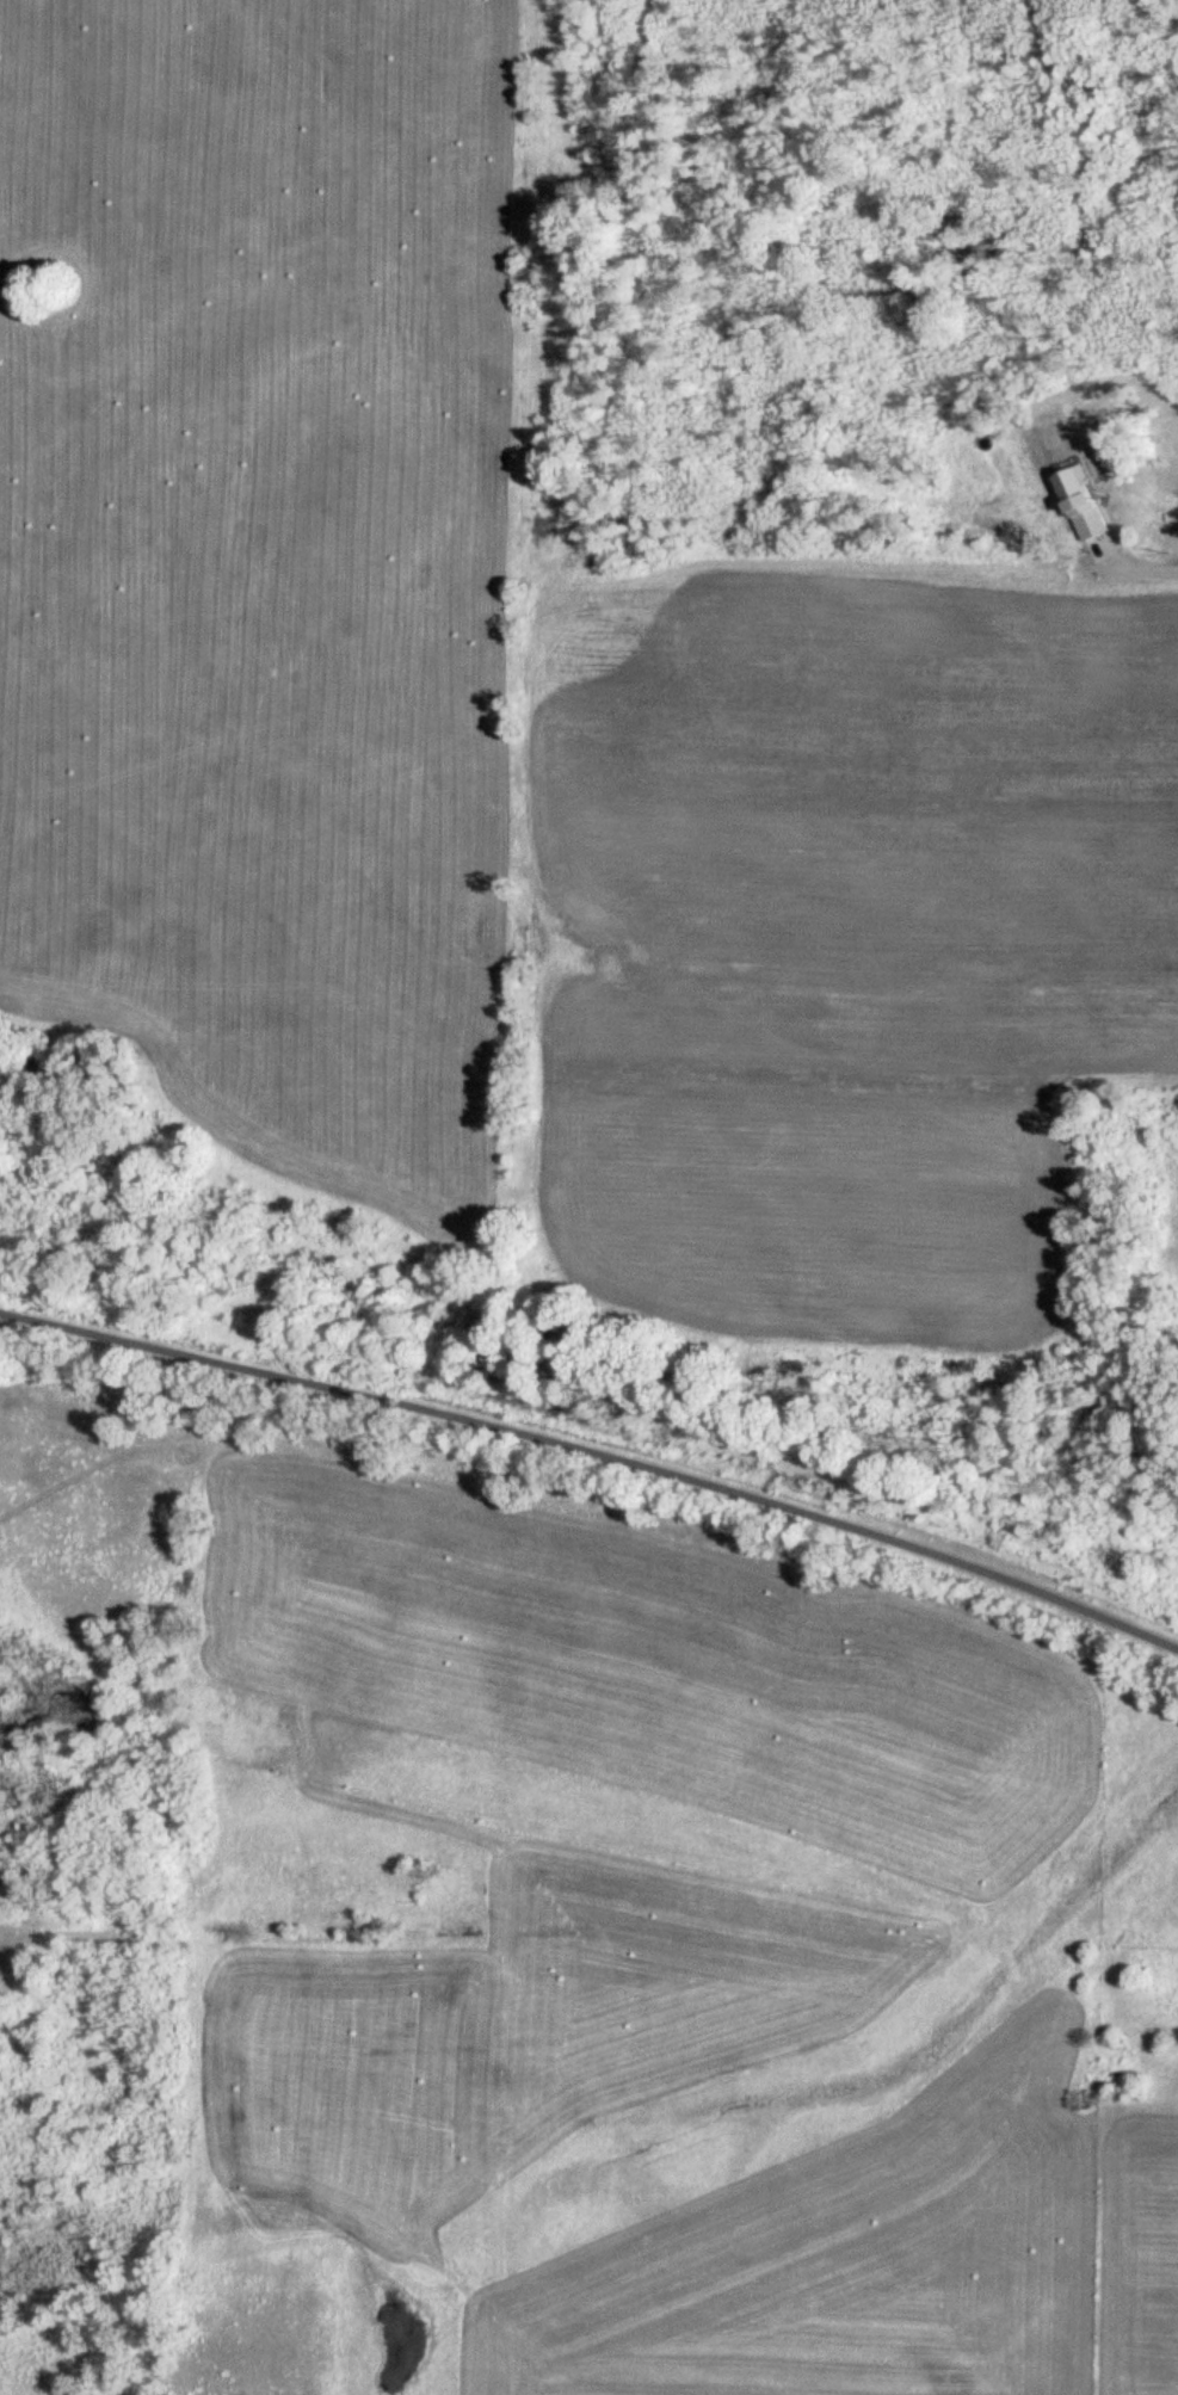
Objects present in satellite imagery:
road: (1128, 567)
road: (597, 1451)

